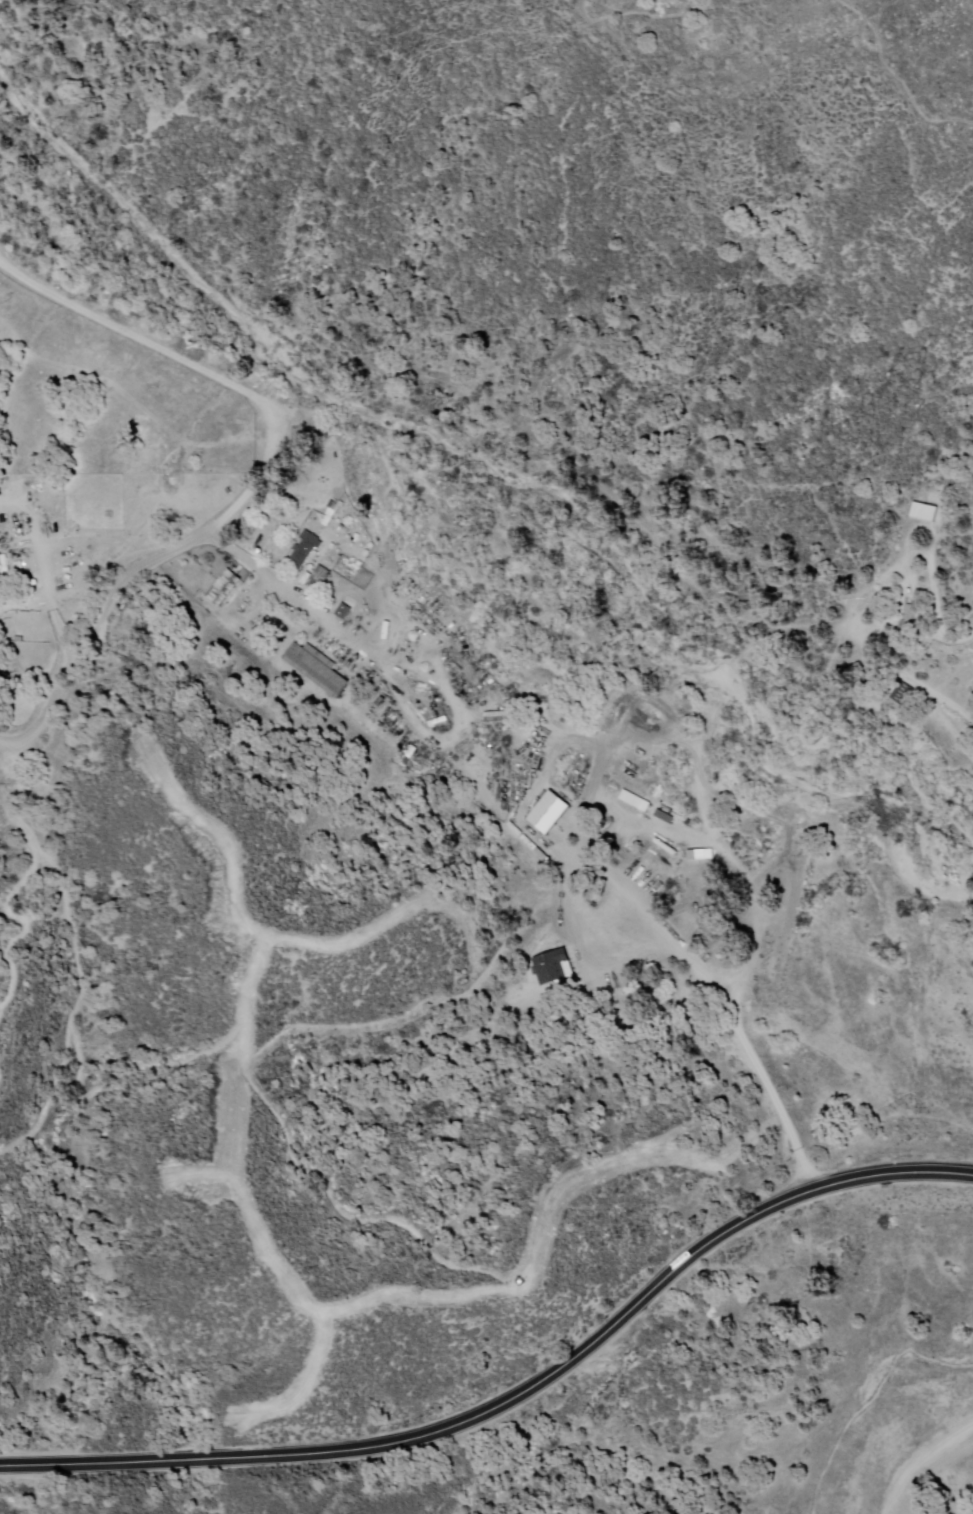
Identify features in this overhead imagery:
road: (143, 339)
road: (138, 406)
building: (924, 516)
building: (305, 550)
building: (4, 570)
road: (130, 577)
building: (320, 579)
building: (225, 591)
building: (341, 613)
building: (908, 620)
building: (316, 666)
road: (920, 690)
building: (902, 694)
building: (548, 816)
road: (576, 857)
road: (516, 1395)
road: (920, 1458)

